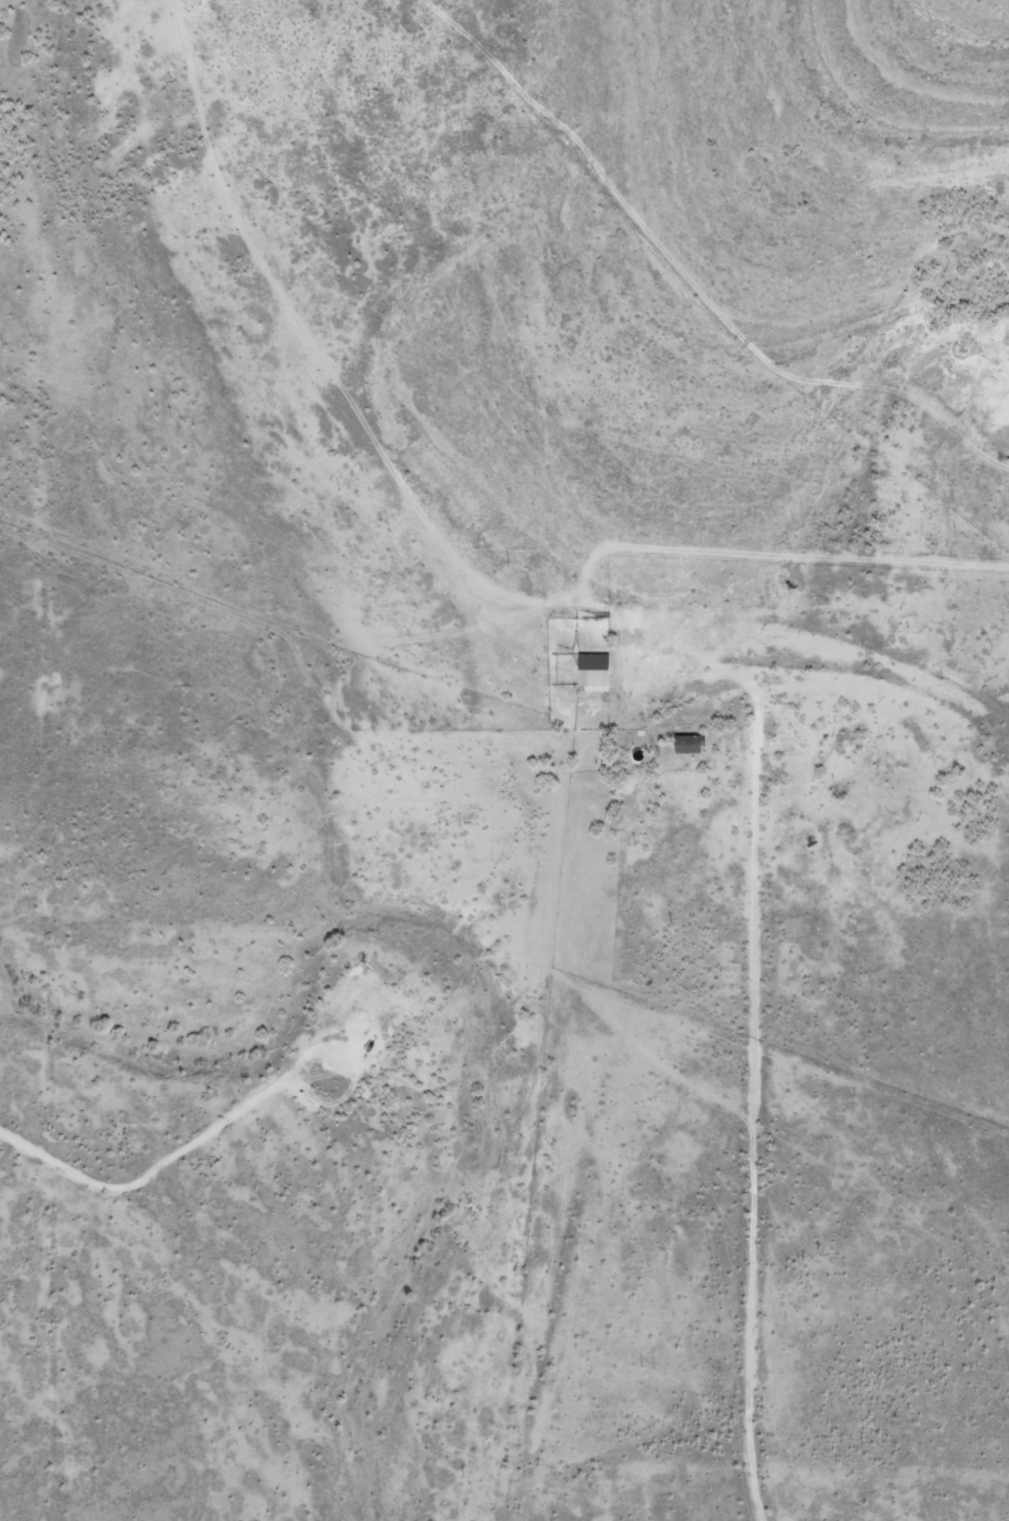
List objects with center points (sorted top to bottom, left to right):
road: (980, 348)
road: (688, 681)

